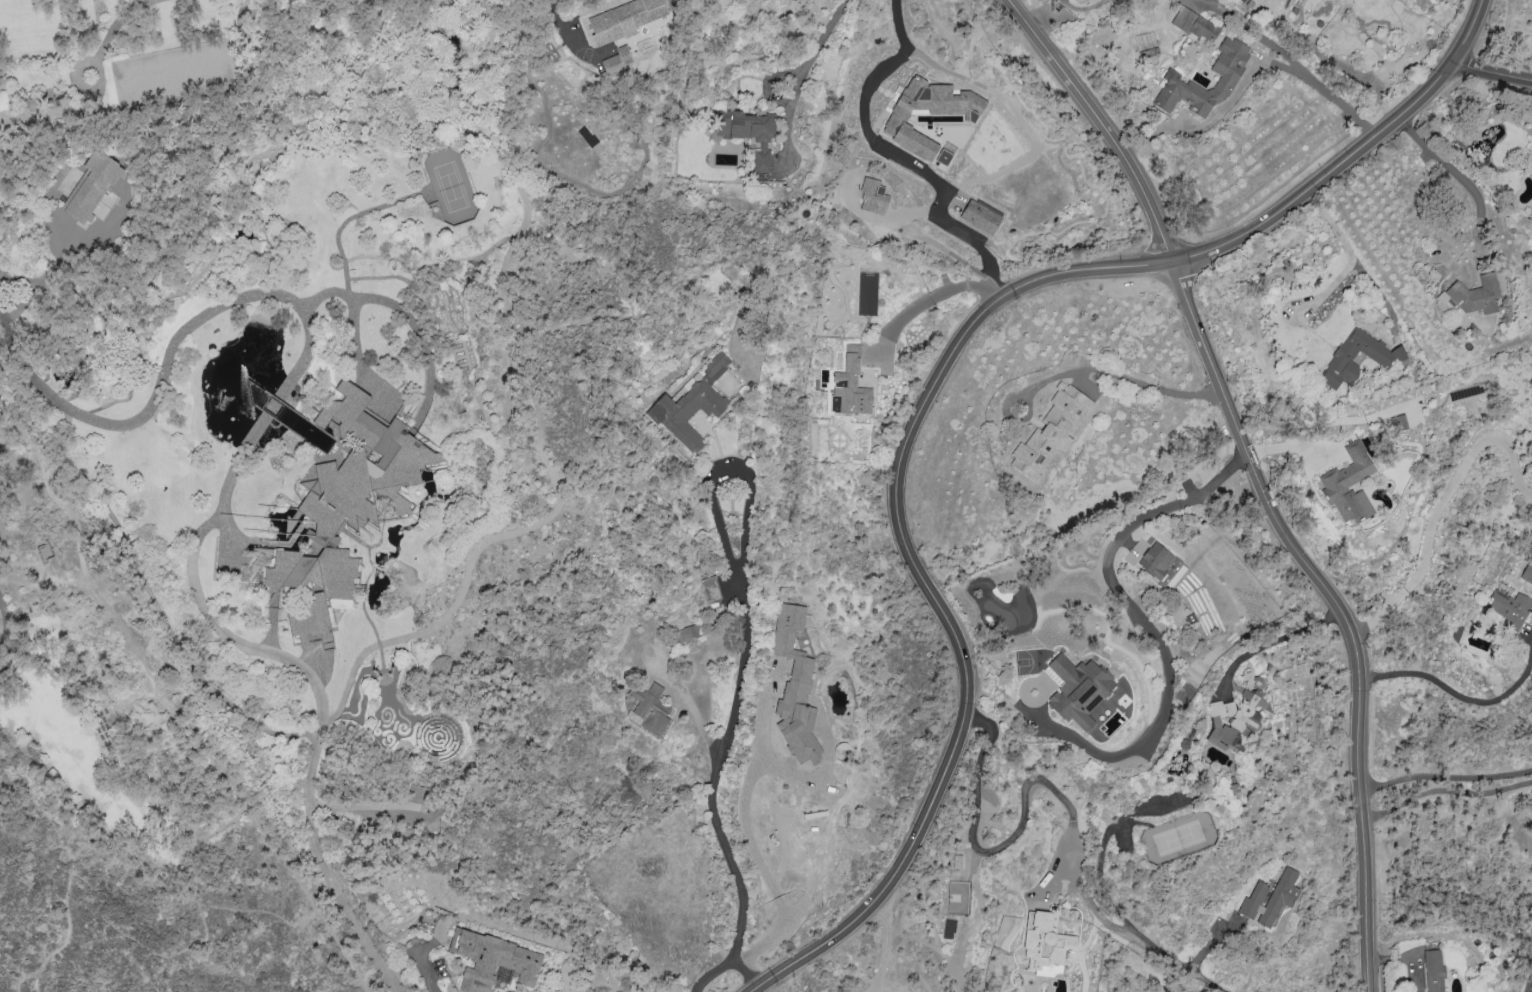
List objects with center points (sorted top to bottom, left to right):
building: (623, 19)
building: (1195, 24)
road: (814, 46)
building: (617, 60)
road: (1492, 74)
building: (1228, 77)
road: (1249, 77)
building: (927, 112)
road: (51, 115)
road: (1104, 124)
building: (748, 132)
road: (1351, 157)
road: (893, 159)
building: (90, 187)
building: (872, 195)
building: (1531, 214)
building: (979, 215)
road: (1479, 221)
road: (1347, 260)
building: (1473, 295)
road: (930, 299)
road: (4, 310)
road: (403, 311)
building: (1384, 355)
road: (1083, 369)
building: (849, 386)
road: (155, 394)
building: (690, 405)
road: (272, 408)
building: (1397, 422)
building: (1050, 432)
building: (1348, 484)
building: (345, 502)
road: (1441, 509)
building: (43, 550)
building: (1154, 560)
road: (194, 581)
road: (927, 587)
building: (709, 588)
building: (1510, 608)
road: (1339, 610)
road: (4, 624)
parking lot: (10, 629)
road: (1147, 629)
building: (690, 632)
building: (1454, 634)
road: (1268, 642)
road: (737, 664)
parking lot: (2, 666)
building: (794, 686)
building: (1077, 689)
road: (161, 693)
road: (1469, 699)
building: (648, 710)
building: (1236, 715)
road: (695, 716)
park: (144, 764)
road: (1445, 776)
road: (1055, 792)
building: (419, 794)
road: (46, 824)
road: (320, 837)
road: (86, 845)
road: (774, 892)
building: (1269, 898)
building: (1045, 944)
road: (142, 948)
building: (492, 960)
building: (1433, 970)
road: (1527, 980)

